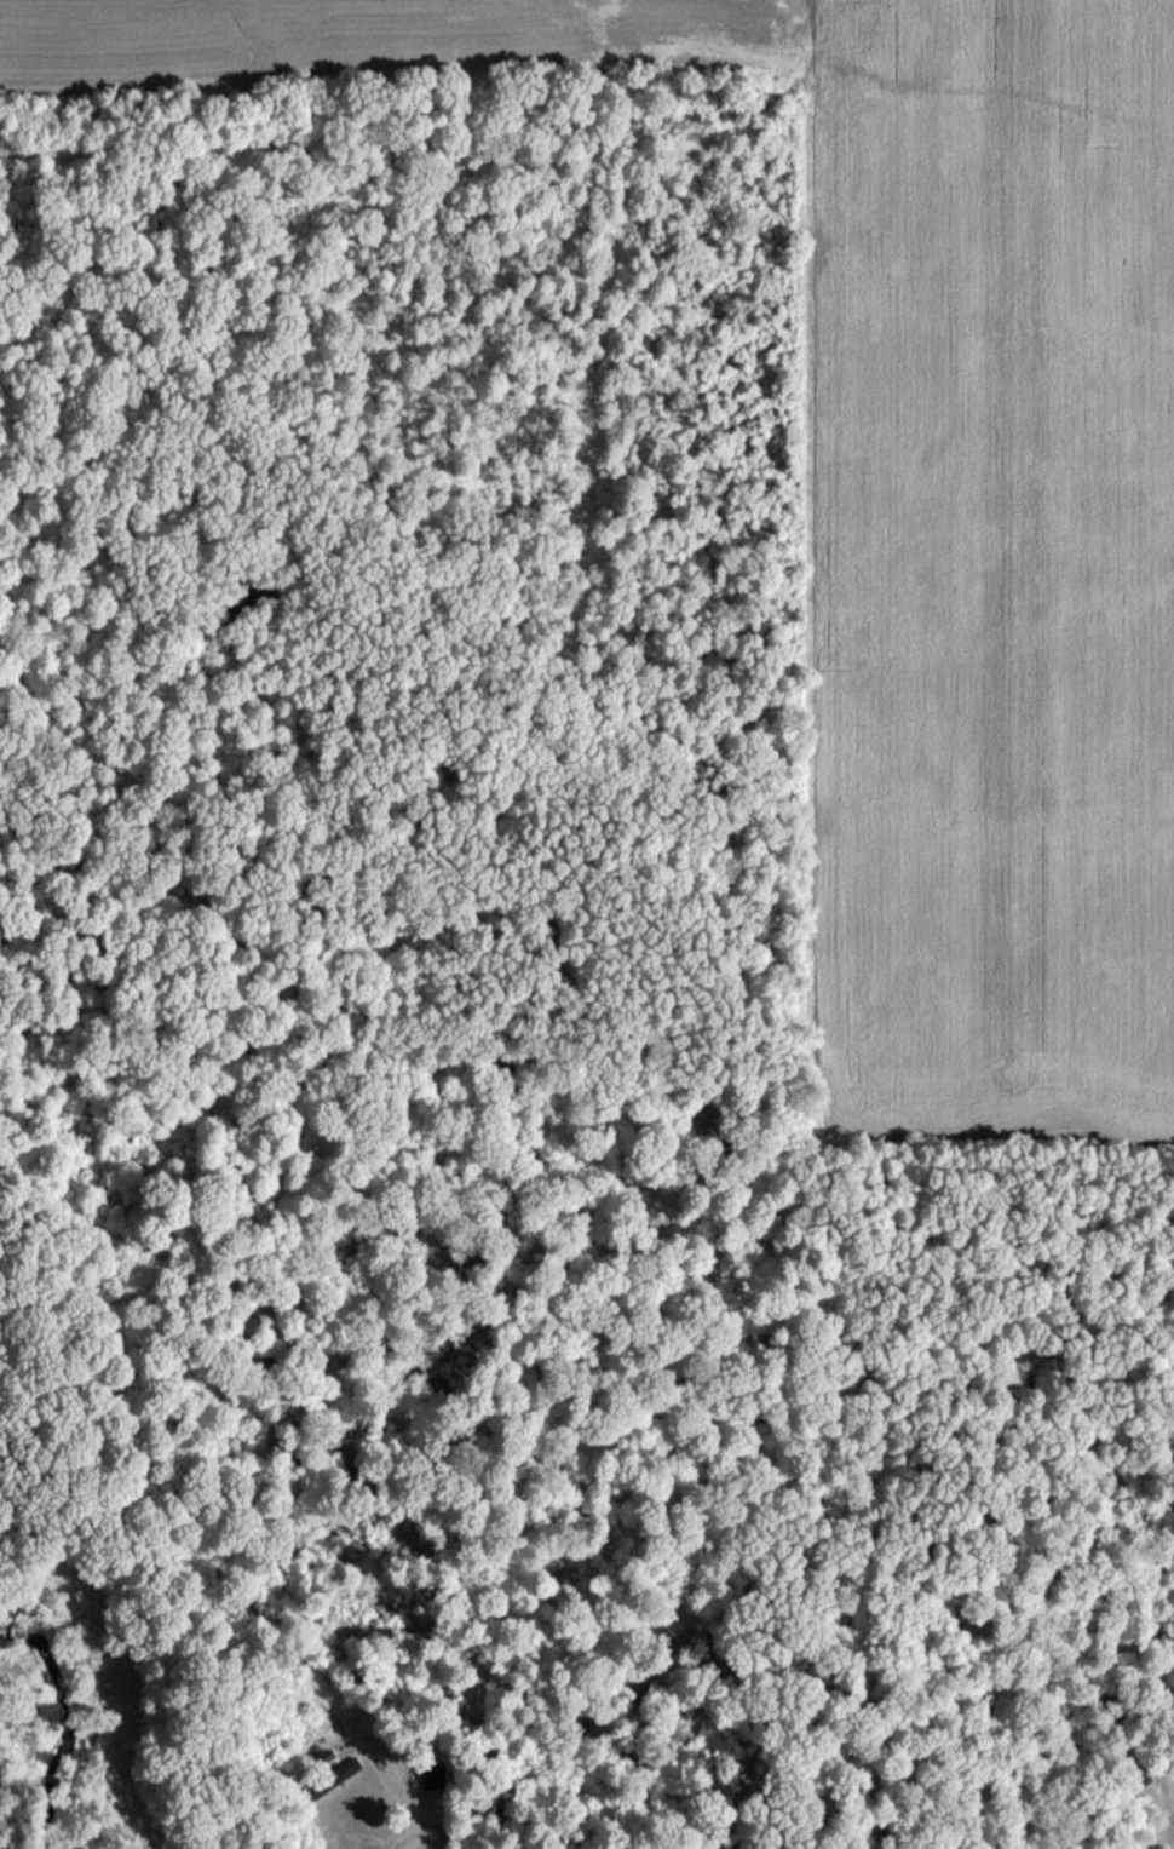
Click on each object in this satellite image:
building: (432, 1780)
building: (329, 1785)
road: (428, 1838)

